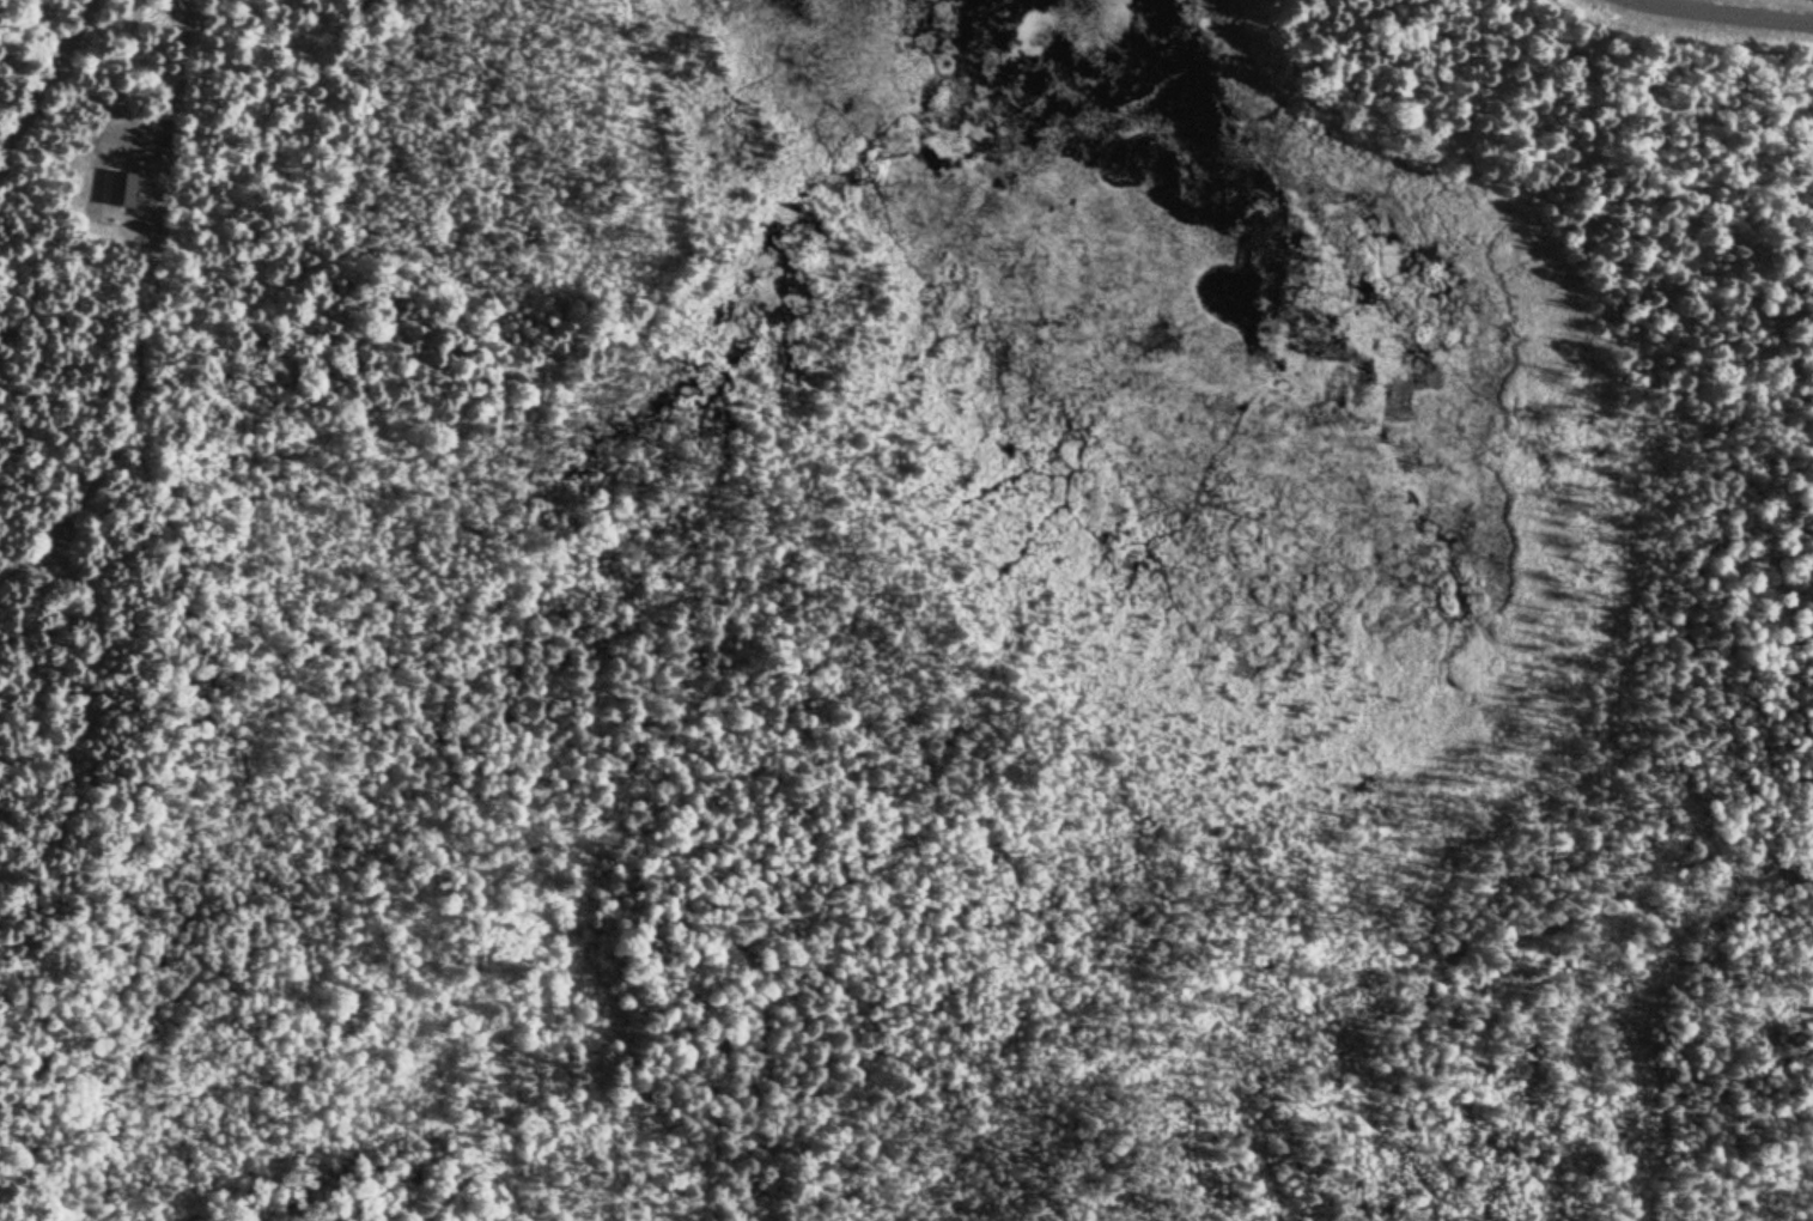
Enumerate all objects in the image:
road: (1728, 13)
road: (45, 75)
road: (140, 303)

